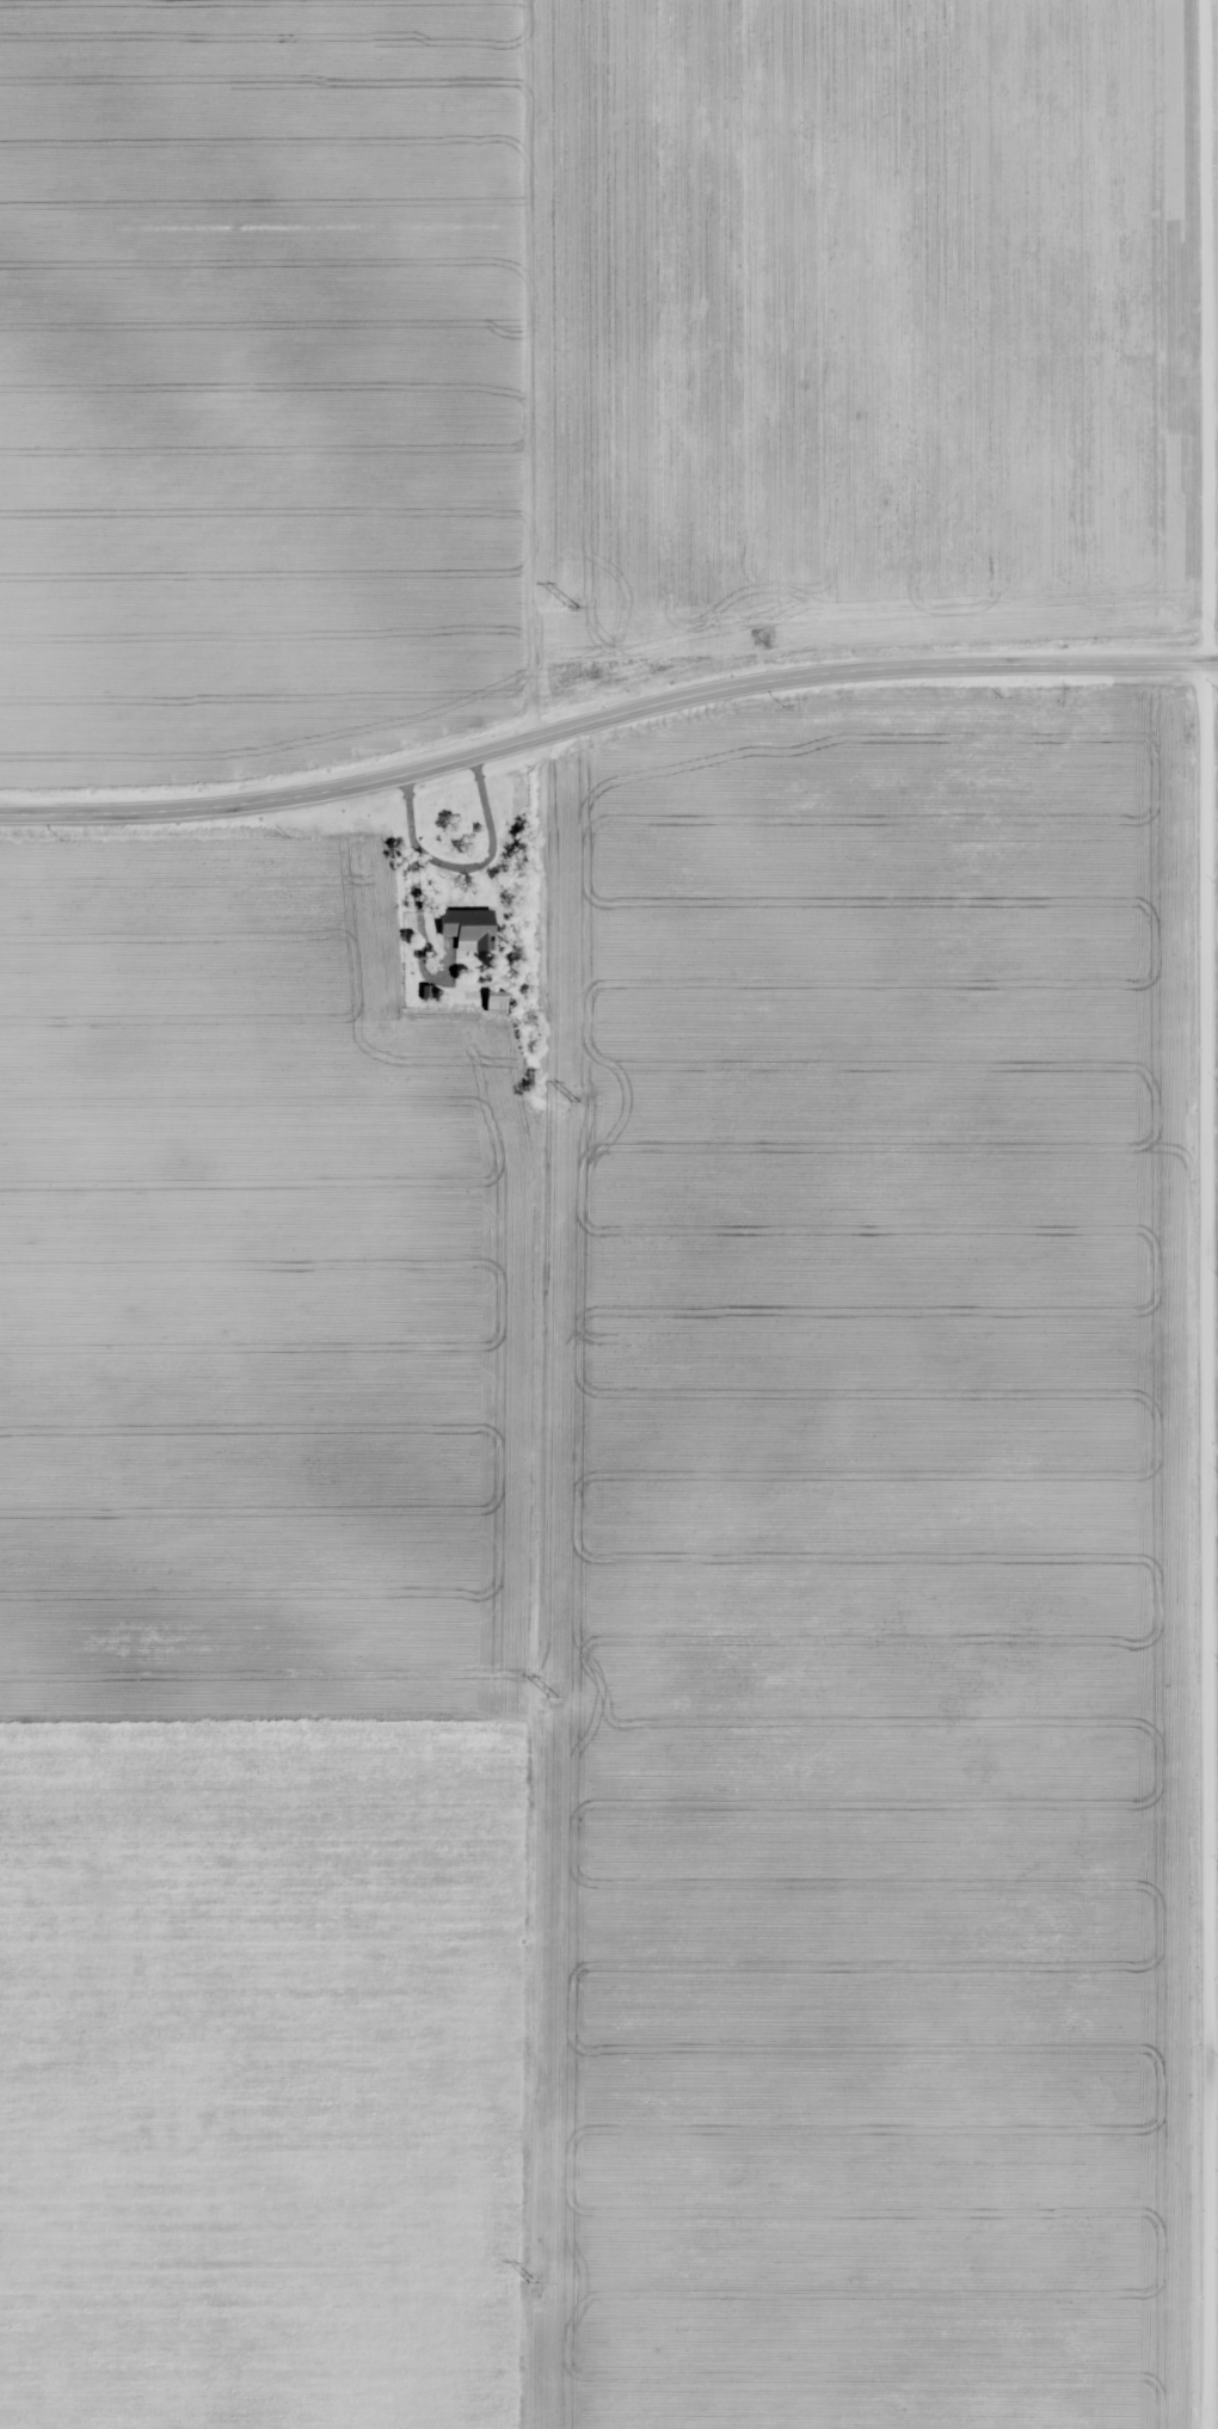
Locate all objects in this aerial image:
power tower: (572, 608)
road: (604, 717)
building: (467, 929)
building: (494, 1002)
power tower: (574, 1101)
road: (1206, 1213)
power tower: (553, 1696)
power tower: (531, 2282)

